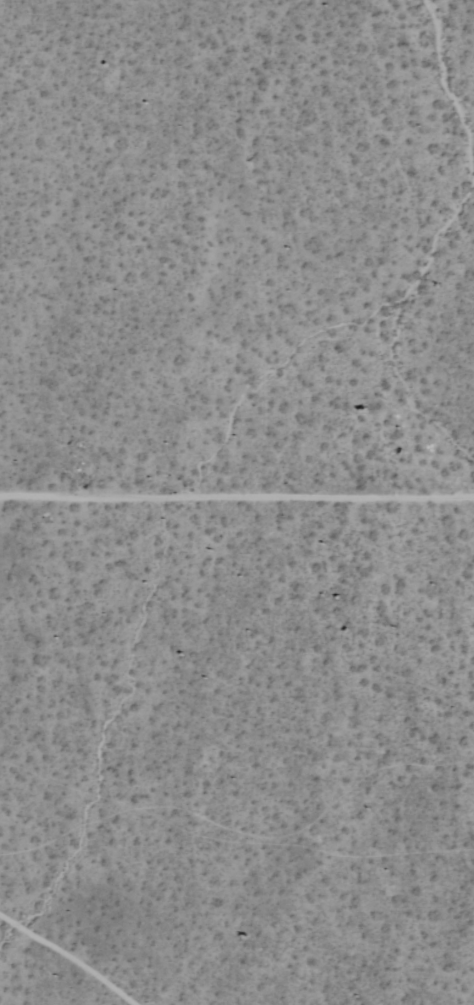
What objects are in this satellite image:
road: (236, 495)

